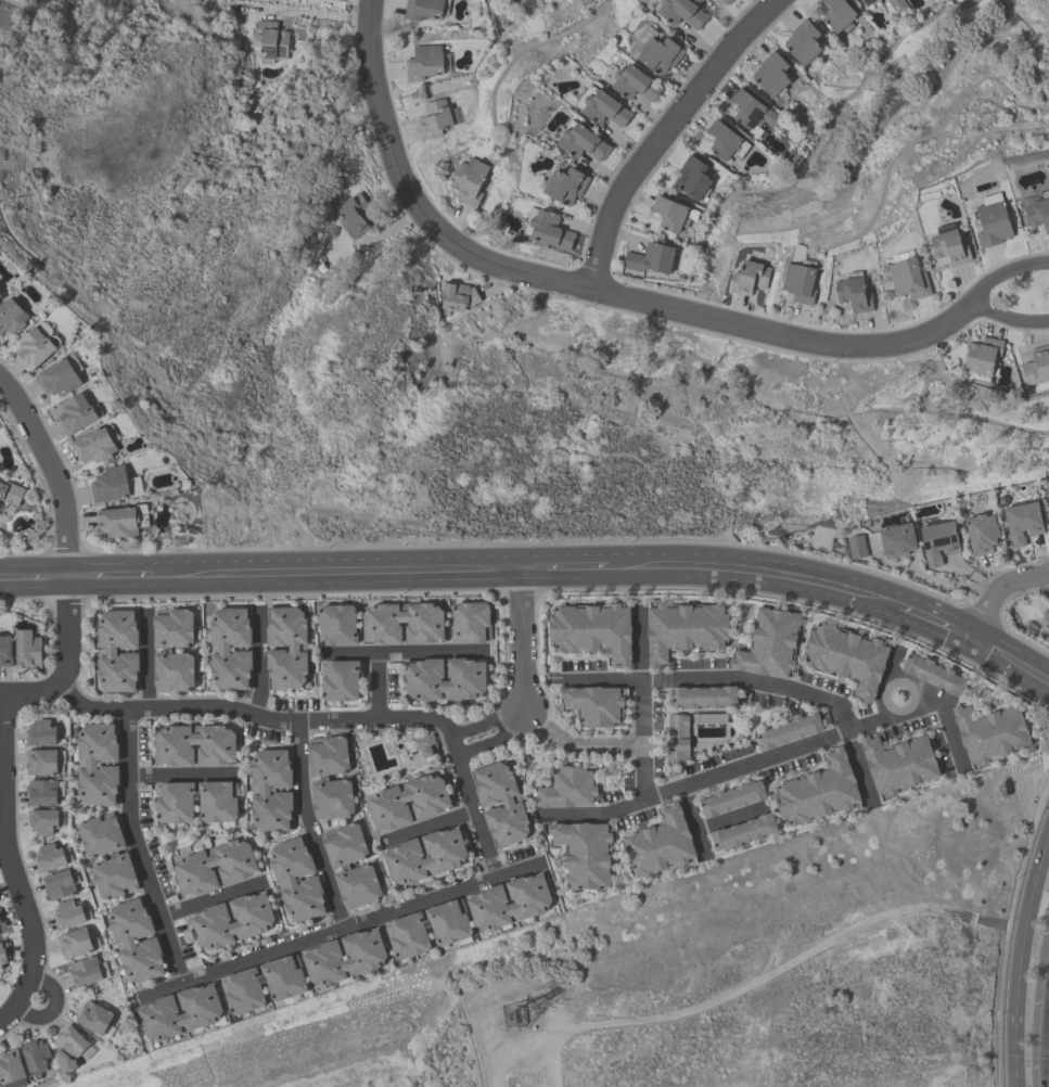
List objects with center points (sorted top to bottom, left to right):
road: (369, 0)
building: (703, 0)
building: (726, 1)
building: (866, 2)
building: (896, 7)
building: (423, 9)
building: (681, 12)
building: (839, 14)
building: (803, 41)
building: (270, 42)
building: (656, 50)
building: (424, 62)
building: (771, 74)
building: (634, 82)
building: (604, 107)
building: (751, 113)
building: (434, 118)
road: (664, 132)
building: (722, 139)
building: (583, 142)
building: (692, 177)
building: (469, 181)
building: (565, 184)
building: (1038, 212)
building: (669, 213)
building: (354, 216)
building: (993, 222)
building: (550, 229)
building: (949, 246)
building: (650, 258)
building: (749, 277)
building: (908, 278)
building: (798, 281)
road: (578, 285)
building: (854, 292)
building: (0, 294)
building: (457, 296)
road: (968, 304)
building: (12, 315)
building: (36, 347)
building: (983, 357)
building: (1037, 369)
building: (59, 376)
building: (76, 412)
building: (93, 445)
road: (52, 473)
building: (113, 485)
building: (11, 493)
building: (1048, 494)
building: (1048, 502)
building: (117, 521)
building: (1023, 521)
building: (982, 533)
building: (897, 539)
building: (938, 540)
building: (857, 546)
road: (565, 567)
road: (335, 571)
road: (730, 572)
road: (34, 575)
road: (110, 575)
road: (998, 591)
road: (873, 600)
building: (1046, 616)
building: (470, 622)
building: (381, 623)
building: (337, 624)
road: (933, 624)
building: (172, 628)
building: (686, 628)
building: (592, 629)
building: (770, 643)
building: (297, 647)
building: (27, 648)
building: (219, 648)
building: (106, 650)
building: (5, 651)
road: (402, 652)
building: (847, 656)
road: (65, 658)
road: (145, 660)
road: (258, 660)
road: (1008, 660)
building: (174, 672)
building: (934, 674)
building: (468, 678)
road: (521, 678)
building: (340, 679)
road: (715, 679)
road: (884, 685)
road: (914, 685)
road: (376, 686)
building: (703, 696)
building: (594, 704)
road: (640, 704)
road: (942, 709)
road: (254, 716)
building: (789, 730)
building: (40, 732)
building: (989, 732)
building: (677, 739)
building: (425, 744)
building: (172, 745)
road: (576, 746)
building: (328, 755)
building: (41, 762)
building: (86, 764)
building: (899, 764)
road: (859, 768)
road: (182, 775)
road: (714, 776)
building: (568, 788)
building: (259, 790)
building: (819, 790)
building: (41, 792)
building: (732, 797)
building: (332, 798)
building: (217, 801)
building: (387, 801)
building: (174, 802)
building: (512, 804)
road: (471, 811)
road: (733, 816)
building: (42, 820)
road: (693, 821)
road: (425, 826)
road: (309, 827)
building: (744, 832)
building: (101, 834)
building: (660, 843)
building: (344, 844)
road: (136, 847)
building: (585, 855)
building: (49, 857)
building: (445, 857)
road: (1040, 861)
building: (238, 868)
road: (12, 874)
building: (115, 877)
building: (285, 879)
building: (60, 884)
building: (358, 885)
road: (209, 898)
building: (486, 901)
building: (67, 915)
building: (448, 921)
building: (253, 922)
building: (2, 924)
road: (340, 929)
building: (407, 935)
building: (124, 939)
building: (74, 943)
building: (3, 952)
building: (364, 958)
building: (85, 972)
building: (284, 976)
road: (1018, 986)
building: (243, 990)
road: (53, 1006)
power tower: (511, 1011)
building: (200, 1014)
road: (7, 1015)
building: (94, 1016)
road: (1045, 1026)
building: (68, 1047)
building: (36, 1053)
building: (12, 1069)

